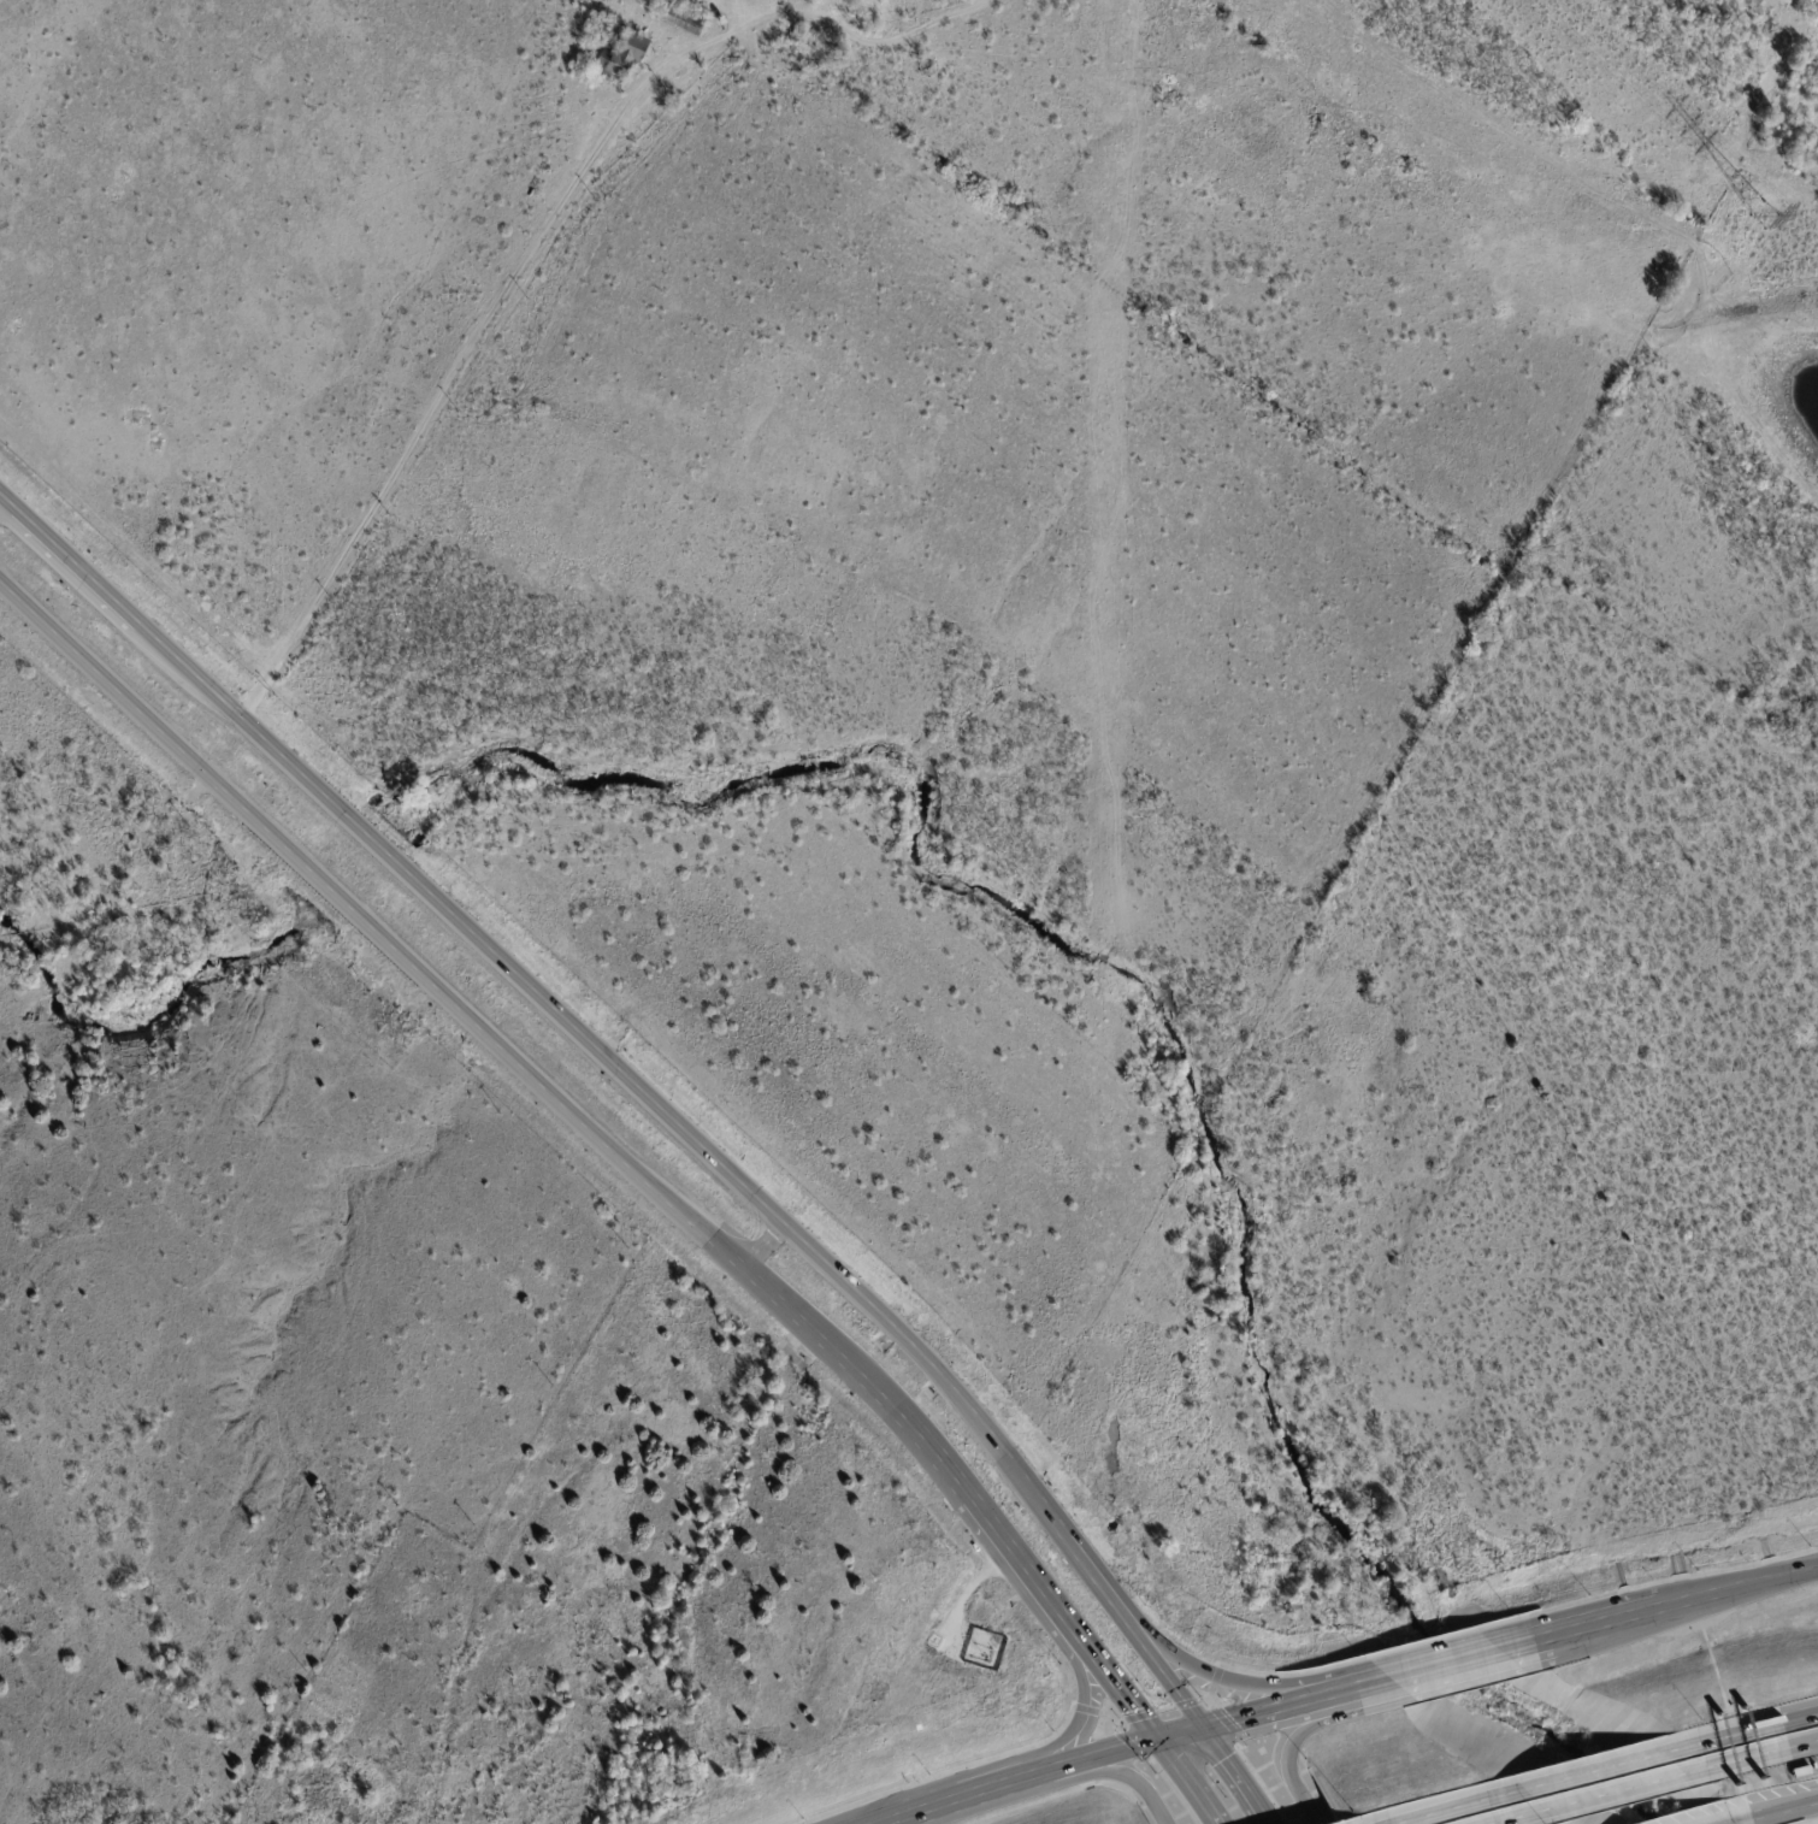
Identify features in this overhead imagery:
building: (684, 20)
building: (802, 36)
building: (622, 58)
building: (597, 96)
power tower: (1769, 217)
road: (458, 360)
road: (77, 566)
road: (362, 915)
road: (608, 1061)
road: (759, 1252)
road: (737, 1265)
road: (817, 1339)
road: (926, 1447)
road: (1093, 1572)
road: (1026, 1574)
road: (1757, 1581)
road: (1625, 1615)
road: (1470, 1658)
road: (1102, 1671)
road: (1171, 1686)
road: (1367, 1687)
road: (1239, 1690)
road: (1274, 1710)
road: (1080, 1716)
road: (1137, 1716)
road: (1800, 1717)
traffic signals: (1200, 1729)
road: (1177, 1734)
road: (1722, 1737)
traffic signals: (1156, 1740)
road: (1802, 1743)
road: (1288, 1747)
road: (1098, 1754)
road: (1735, 1759)
road: (1174, 1764)
road: (1592, 1770)
road: (1116, 1771)
road: (1230, 1776)
road: (1613, 1791)
road: (961, 1798)
road: (1202, 1806)
road: (1448, 1806)
road: (1788, 1807)
road: (1515, 1817)
road: (1742, 1819)
road: (1810, 1822)

